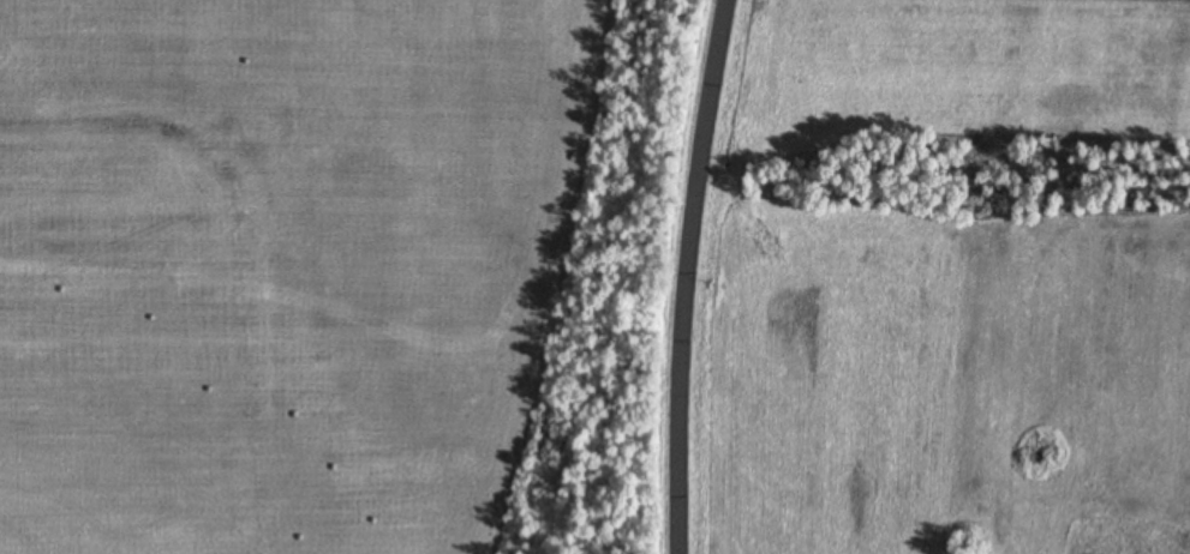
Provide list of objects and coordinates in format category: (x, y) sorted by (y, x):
road: (680, 275)

